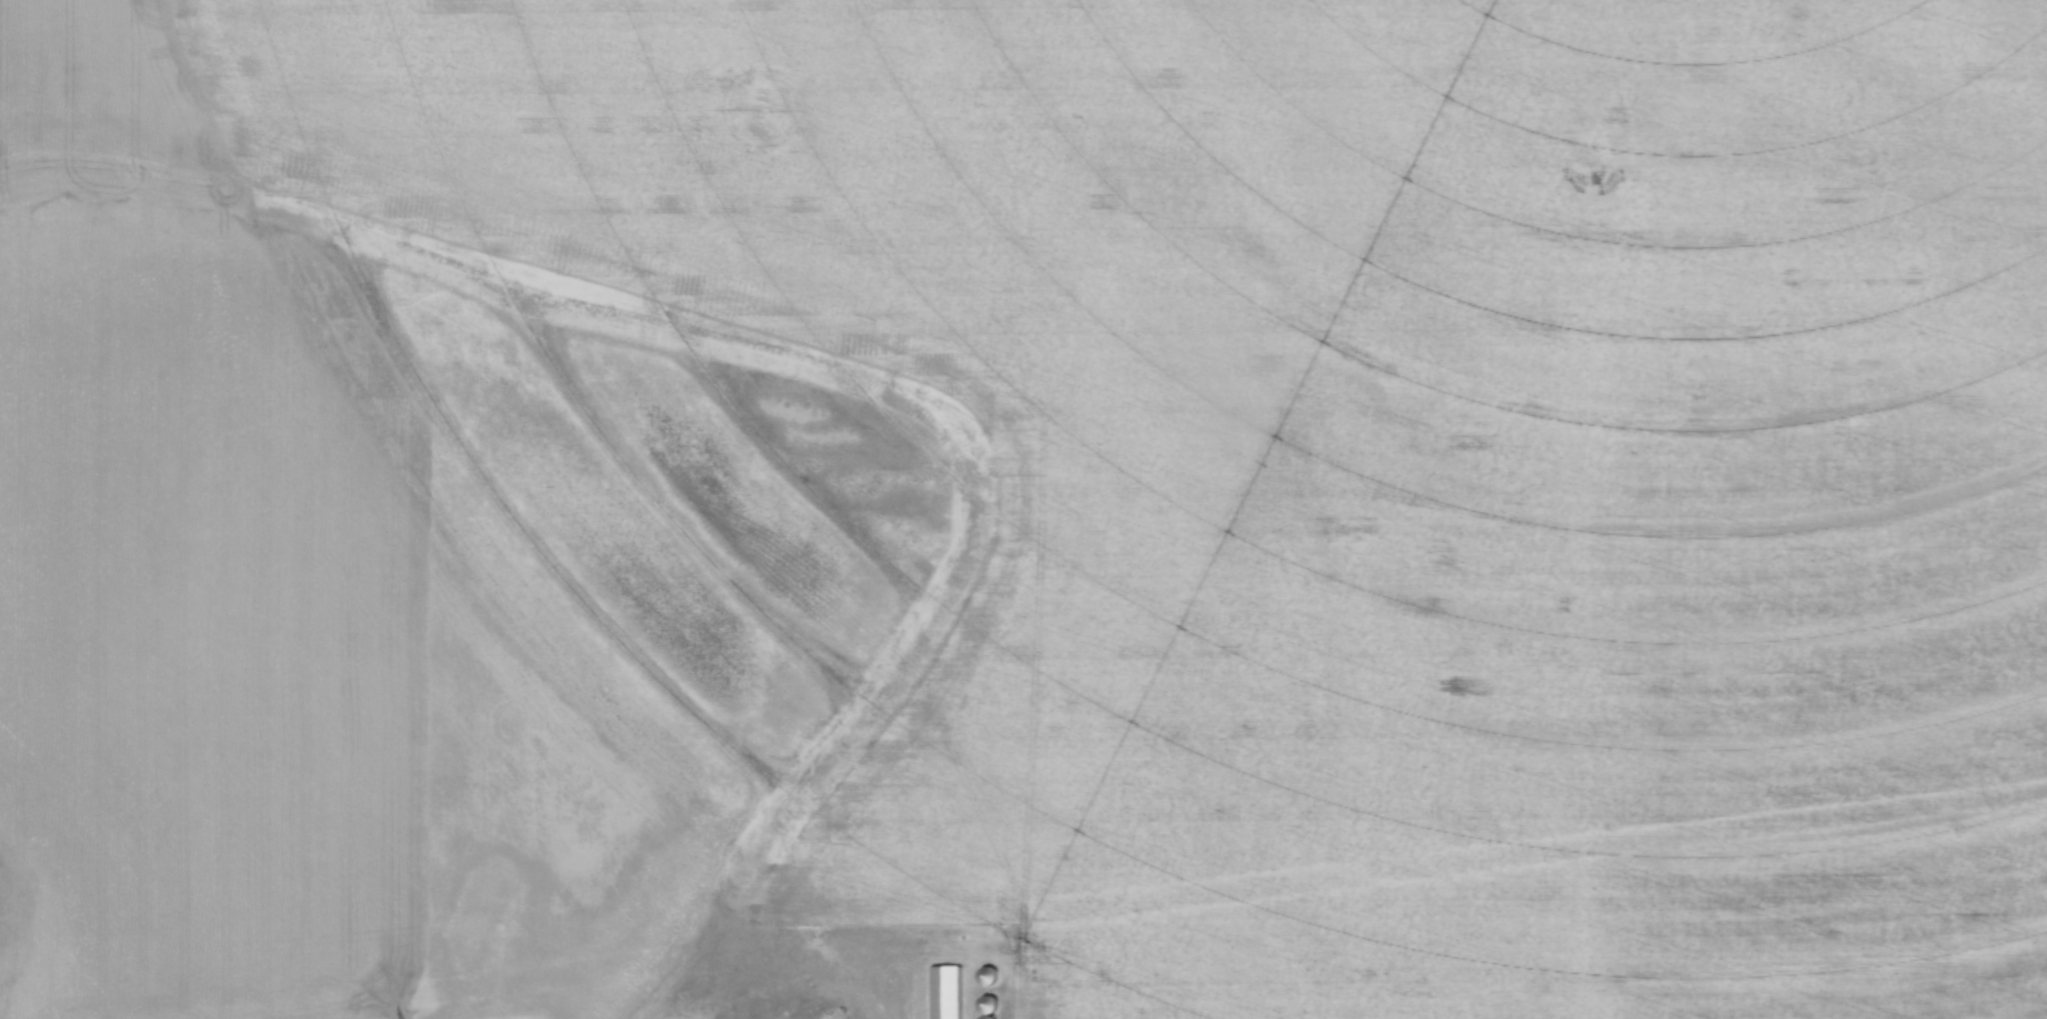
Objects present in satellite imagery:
crop: (1026, 501)
building: (989, 975)
silo: (989, 975)
building: (944, 993)
building: (988, 1004)
silo: (988, 1004)
building: (988, 1017)
silo: (988, 1017)

